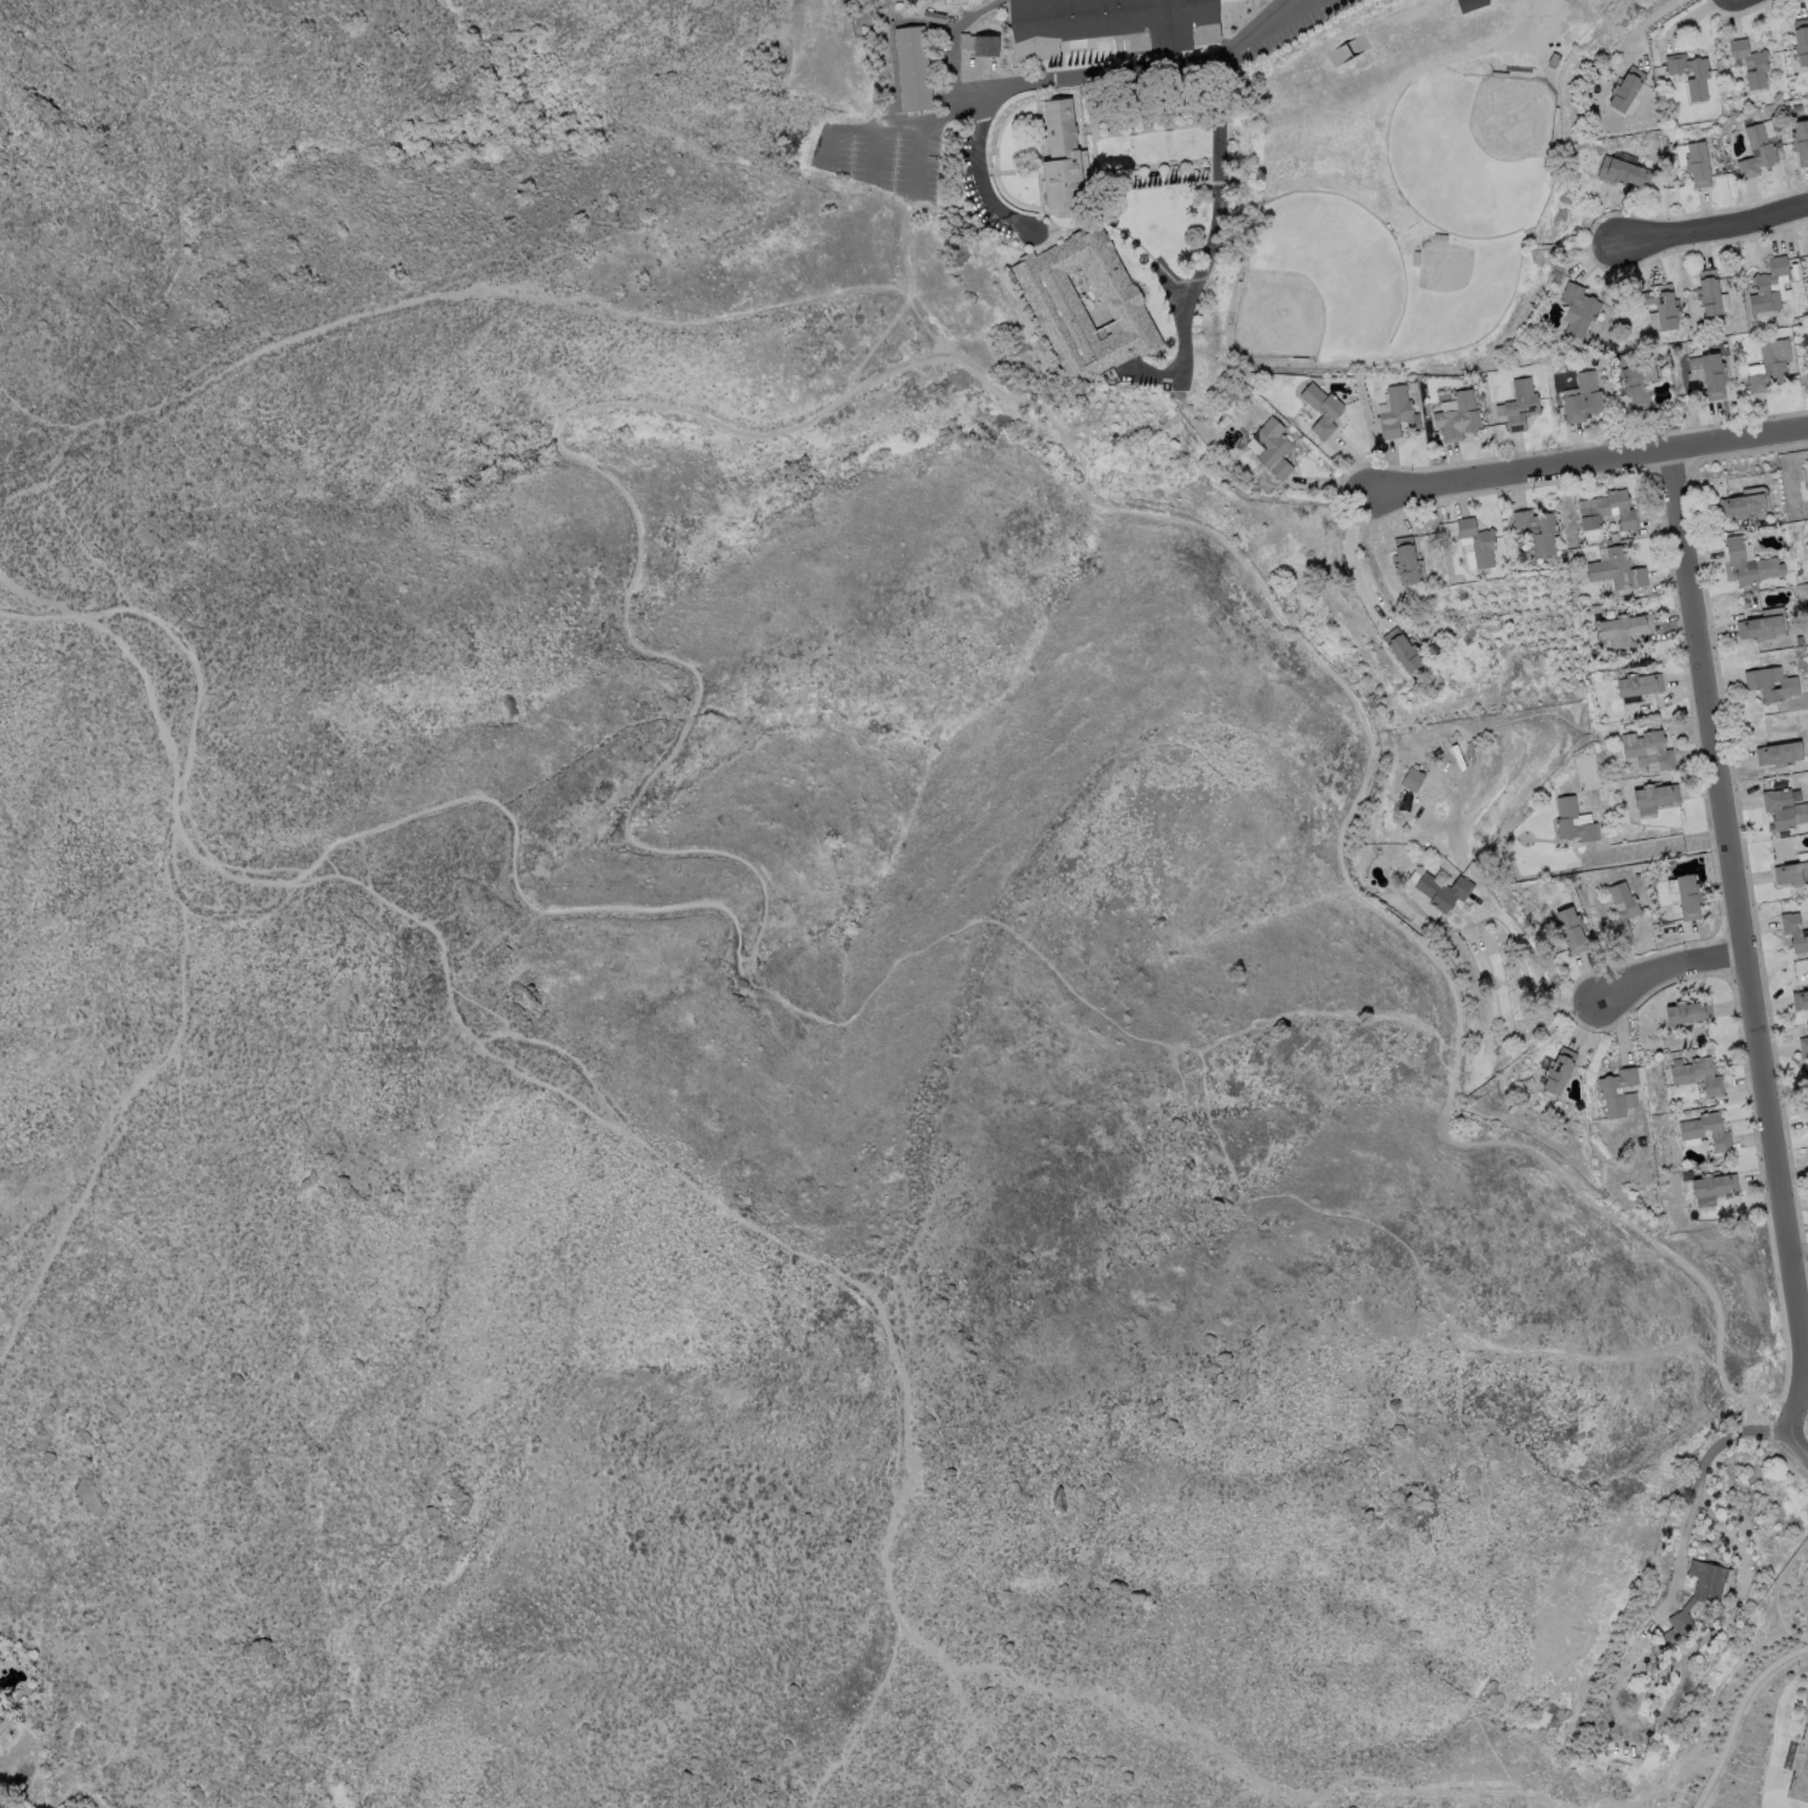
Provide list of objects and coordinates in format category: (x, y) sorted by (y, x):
road: (1300, 2)
building: (1469, 5)
building: (934, 17)
building: (1110, 19)
road: (1642, 22)
road: (1263, 27)
parking lot: (1271, 28)
road: (1422, 31)
building: (963, 40)
road: (891, 41)
building: (1801, 41)
road: (951, 42)
road: (1010, 42)
road: (1208, 42)
building: (986, 46)
road: (1081, 47)
road: (1531, 54)
building: (1551, 59)
building: (1751, 62)
building: (914, 69)
road: (1416, 69)
building: (1499, 75)
building: (1700, 77)
road: (1001, 86)
building: (1626, 88)
road: (1084, 93)
road: (1156, 113)
building: (1556, 116)
road: (1031, 117)
road: (1003, 121)
road: (1157, 128)
road: (1079, 129)
road: (1089, 136)
building: (1801, 142)
road: (1042, 144)
park: (1472, 150)
parking lot: (885, 152)
building: (1756, 152)
road: (873, 154)
building: (1063, 160)
road: (915, 161)
road: (1157, 163)
building: (1698, 165)
road: (978, 169)
building: (1624, 174)
park: (1400, 177)
road: (1099, 179)
road: (1158, 179)
road: (1044, 230)
road: (1121, 230)
road: (1716, 230)
building: (1440, 236)
road: (1209, 246)
building: (1807, 248)
road: (1061, 249)
building: (1416, 258)
road: (1073, 271)
park: (1317, 281)
road: (1079, 286)
road: (1084, 287)
building: (1768, 287)
building: (1238, 288)
building: (1709, 293)
road: (424, 298)
building: (1086, 303)
building: (1662, 307)
building: (1578, 310)
road: (1110, 318)
building: (1702, 327)
building: (1692, 346)
building: (1600, 349)
building: (1647, 355)
building: (1300, 359)
building: (1619, 364)
building: (1770, 365)
building: (1709, 374)
building: (1640, 384)
building: (1412, 386)
building: (1583, 398)
building: (1521, 405)
building: (1322, 409)
building: (1398, 414)
building: (1458, 418)
road: (33, 420)
building: (1273, 448)
road: (1593, 461)
building: (1744, 503)
building: (1607, 511)
building: (1545, 532)
building: (1478, 541)
road: (1349, 557)
building: (1405, 560)
road: (91, 564)
building: (1750, 564)
building: (1617, 570)
road: (39, 601)
building: (1594, 610)
building: (1467, 621)
building: (1760, 628)
building: (1625, 629)
building: (1466, 640)
building: (1404, 650)
building: (1478, 663)
road: (195, 681)
building: (1639, 685)
building: (1772, 685)
building: (1432, 692)
building: (1648, 750)
building: (1779, 754)
building: (1412, 779)
building: (1657, 795)
building: (1784, 808)
road: (1351, 811)
building: (1566, 818)
road: (639, 846)
building: (1635, 871)
building: (1791, 874)
building: (1444, 891)
building: (1688, 897)
building: (1576, 904)
building: (1622, 910)
building: (1571, 929)
building: (1795, 932)
road: (1743, 940)
road: (1672, 969)
building: (1800, 1001)
building: (1688, 1013)
building: (1803, 1047)
road: (495, 1059)
building: (1559, 1070)
building: (1683, 1079)
building: (1527, 1082)
building: (1606, 1090)
road: (133, 1098)
building: (1628, 1099)
building: (1807, 1112)
building: (1692, 1134)
building: (1712, 1187)
road: (1797, 1443)
building: (1693, 1600)
road: (1747, 1687)
road: (1613, 1691)
road: (1804, 1694)
building: (1, 1703)
road: (869, 1712)
road: (1741, 1720)
park: (1764, 1740)
road: (1217, 1749)
park: (1800, 1767)
road: (1705, 1781)
road: (1653, 1792)

